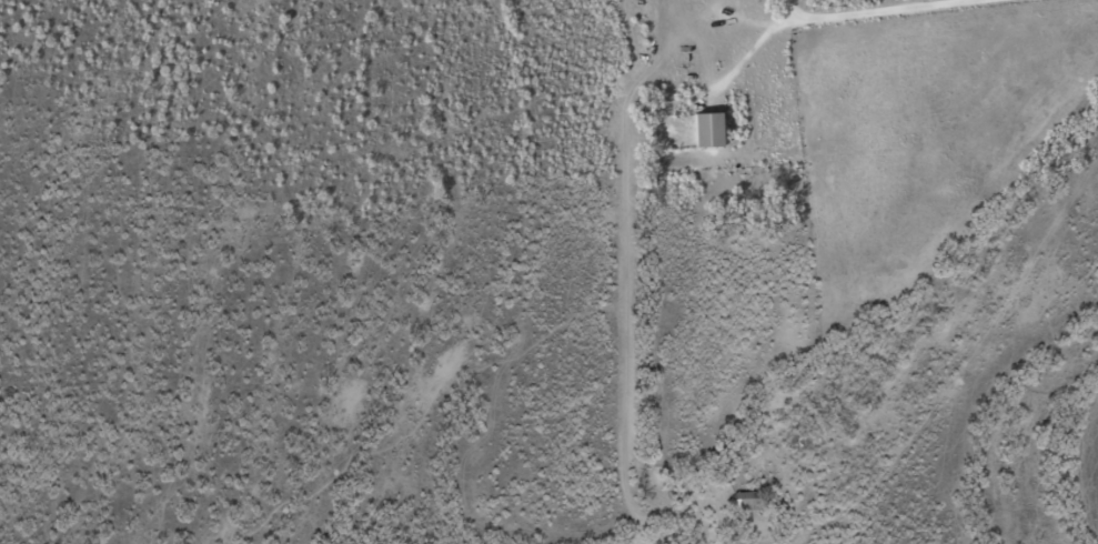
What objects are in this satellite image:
road: (876, 10)
building: (704, 130)
building: (745, 501)

